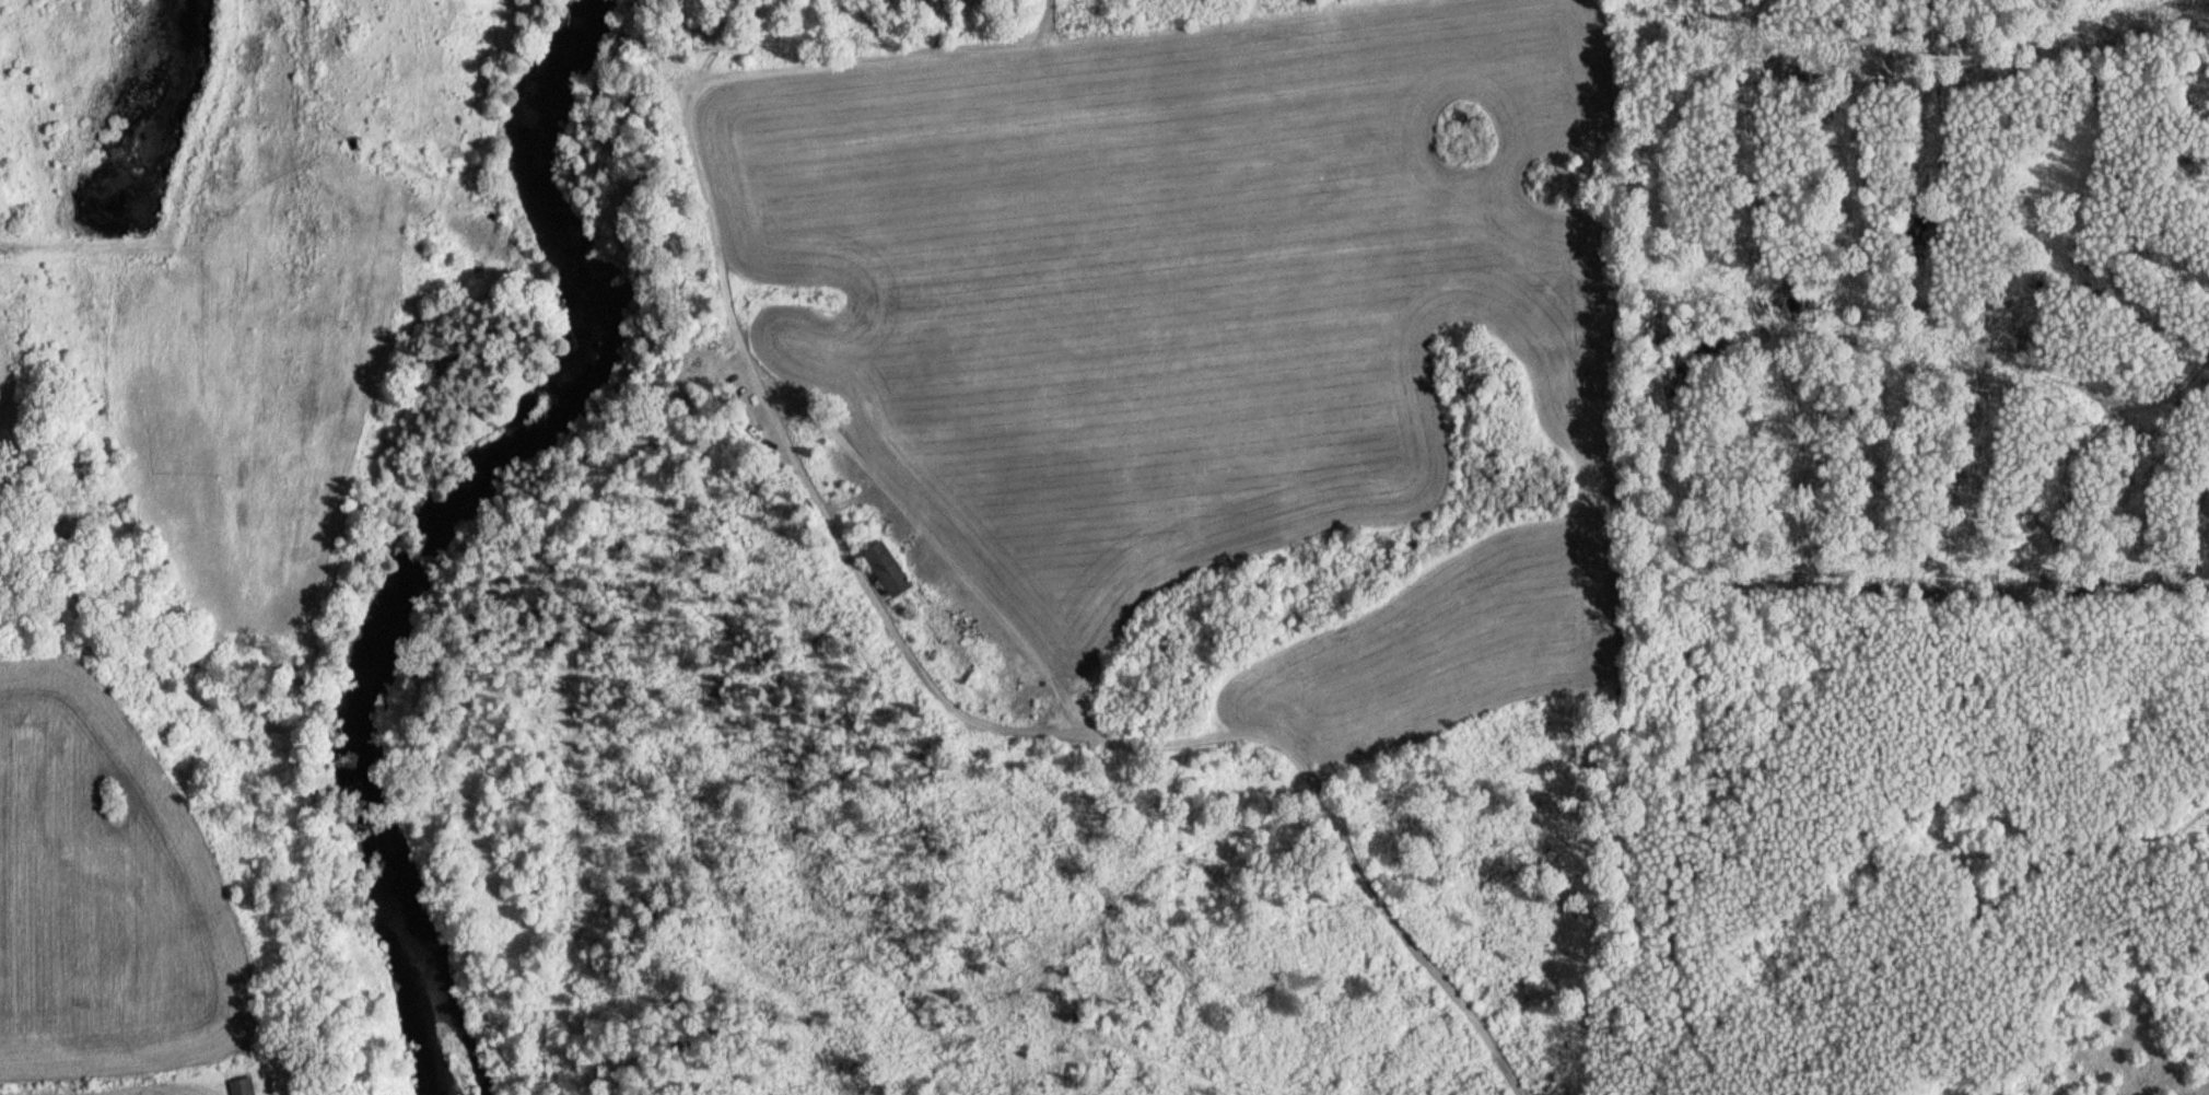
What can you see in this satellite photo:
river: (444, 526)
building: (886, 569)
building: (241, 1086)

